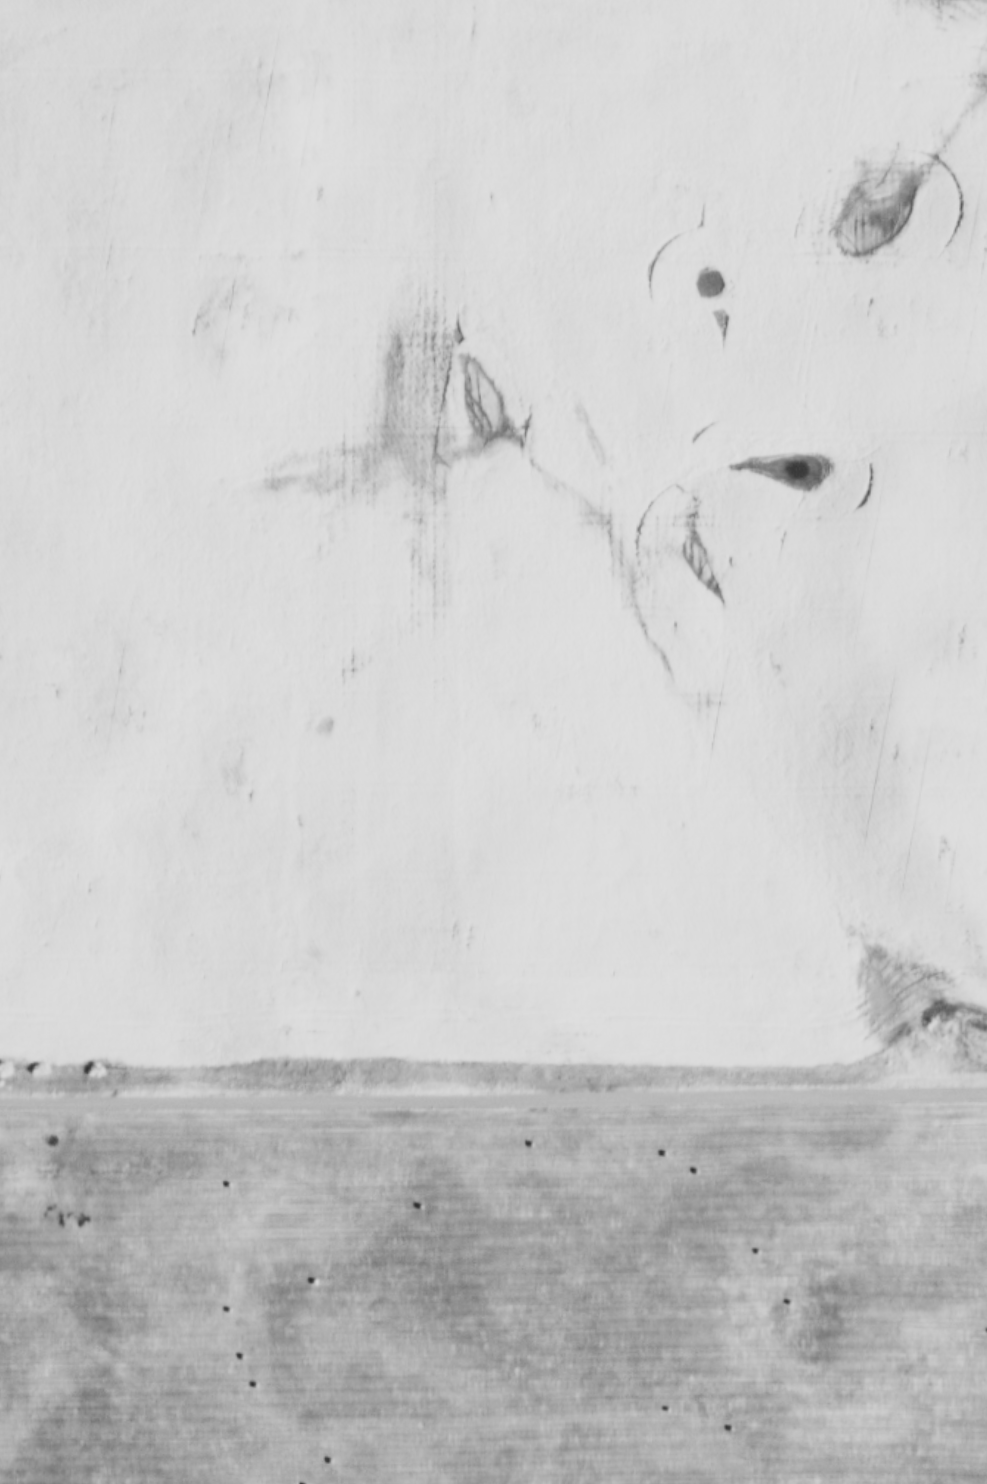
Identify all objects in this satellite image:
road: (493, 1102)

